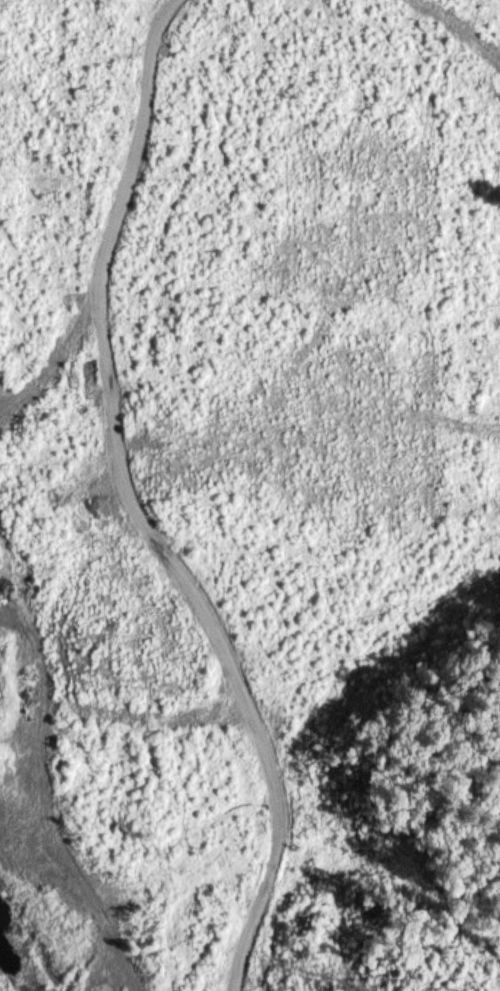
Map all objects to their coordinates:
road: (119, 216)

